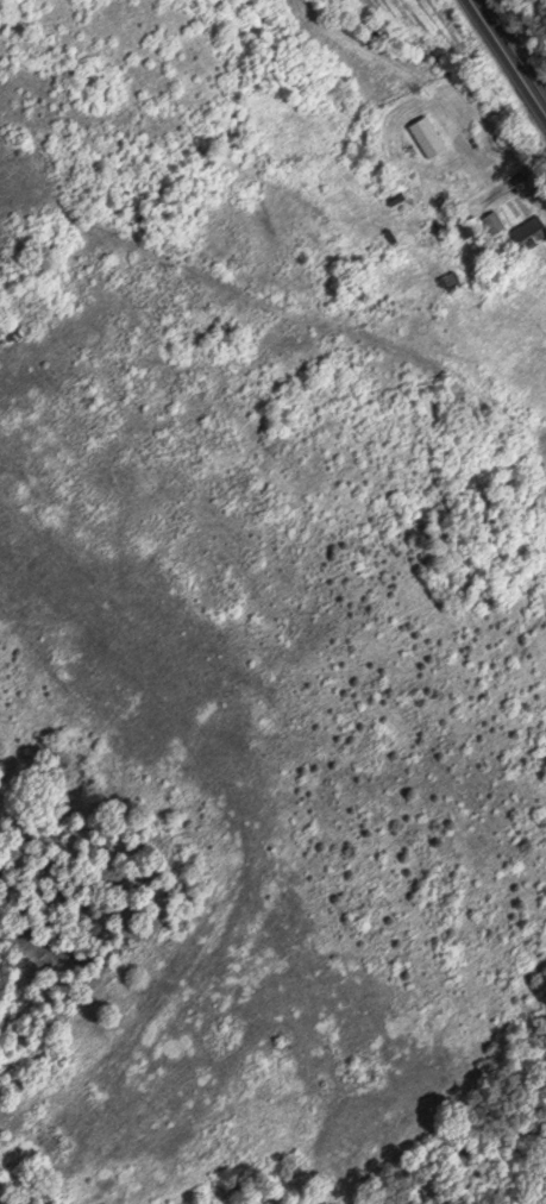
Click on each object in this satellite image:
road: (507, 56)
building: (425, 134)
building: (490, 220)
building: (465, 225)
building: (522, 227)
building: (445, 280)

